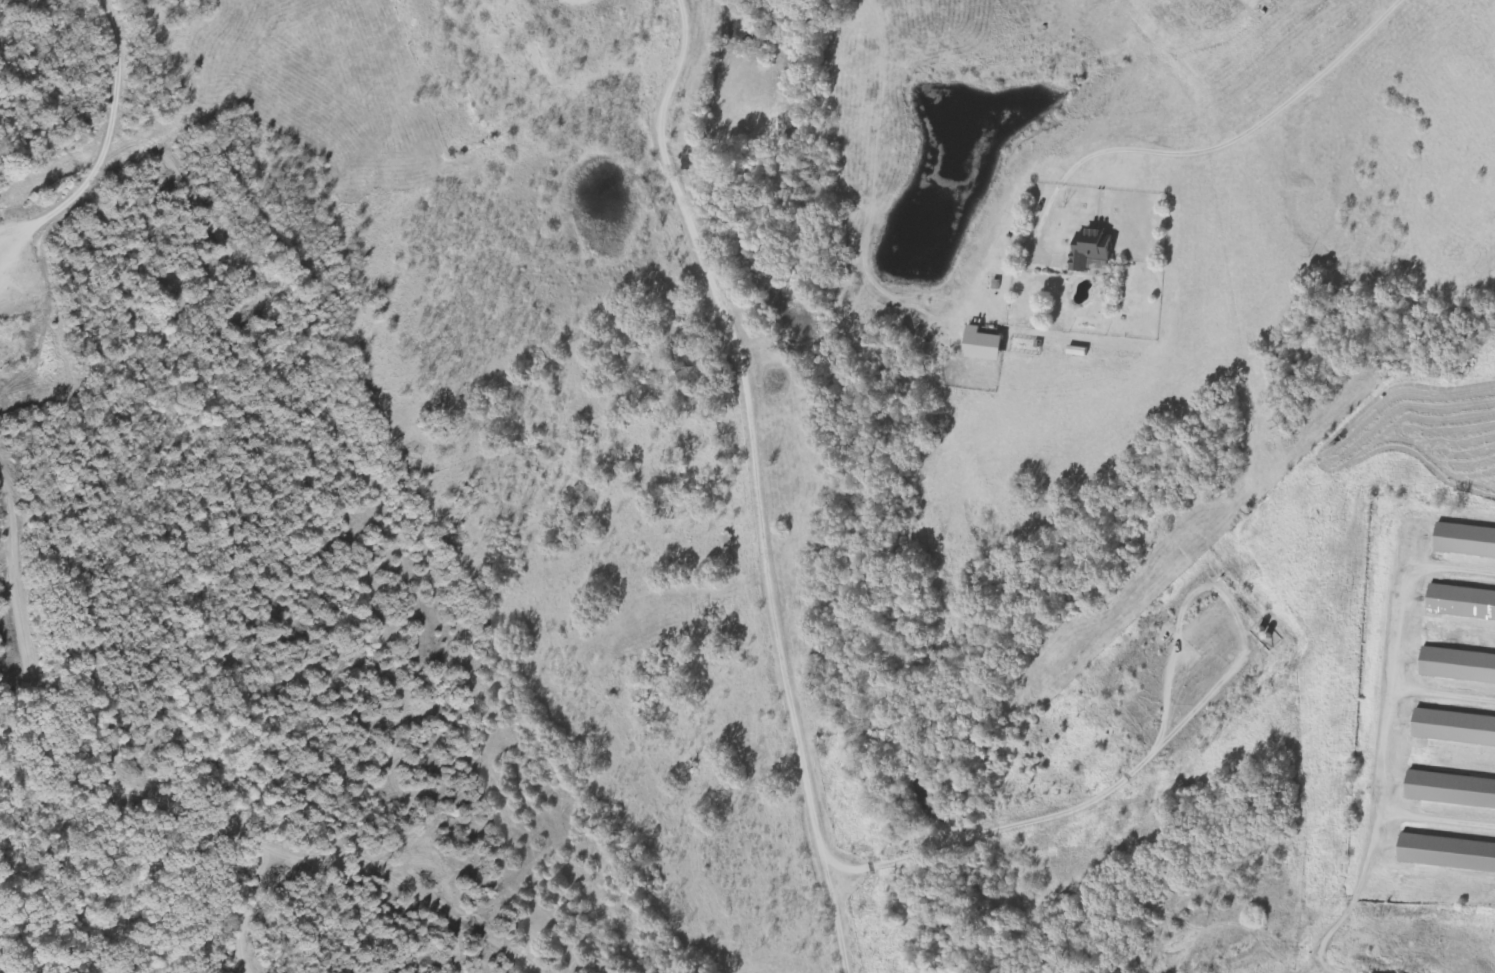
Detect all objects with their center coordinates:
building: (1093, 249)
building: (1099, 268)
building: (986, 344)
road: (754, 479)
building: (1466, 543)
building: (1462, 604)
building: (1458, 667)
building: (1455, 729)
building: (1451, 792)
building: (1448, 855)

